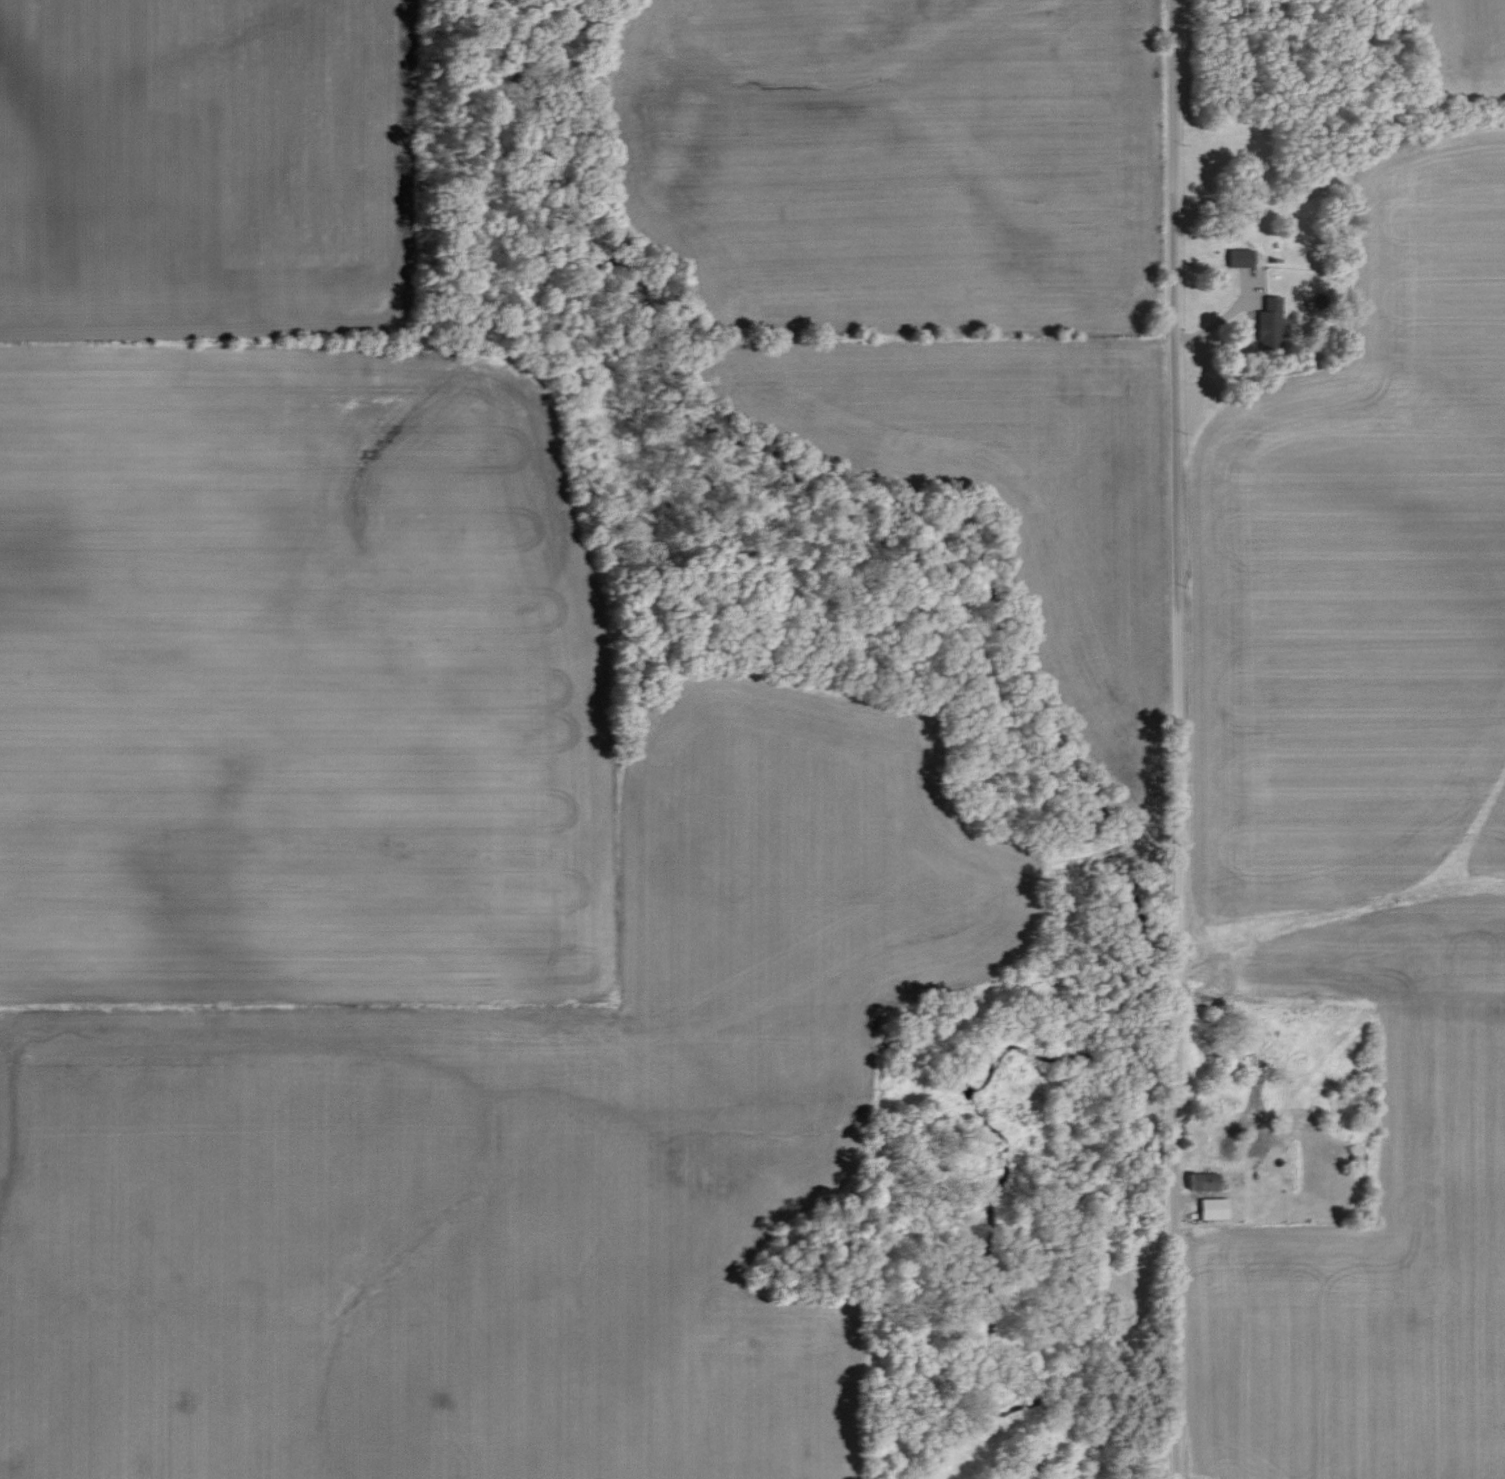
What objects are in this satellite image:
road: (1240, 11)
building: (1243, 258)
road: (1232, 314)
building: (1272, 321)
road: (1176, 739)
building: (1204, 1182)
building: (1216, 1209)

